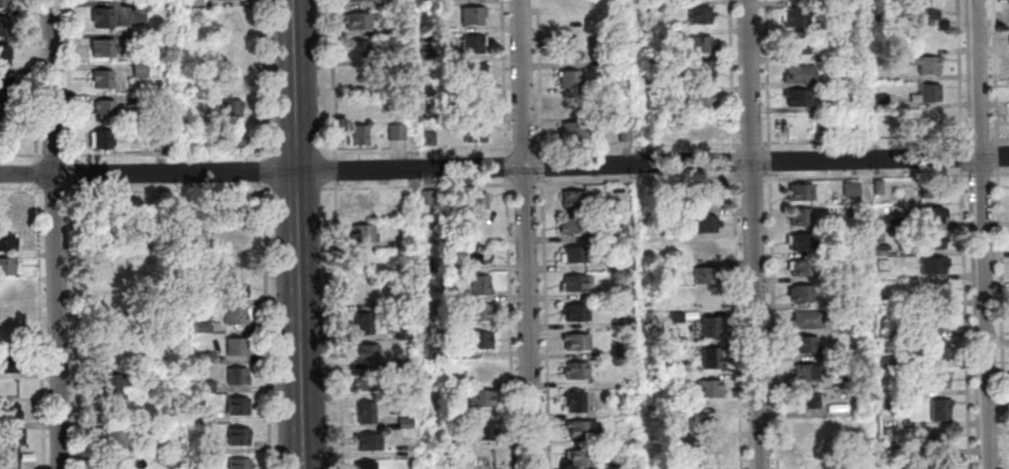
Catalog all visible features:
building: (355, 1)
building: (565, 2)
building: (795, 2)
building: (4, 3)
building: (394, 4)
building: (139, 6)
building: (473, 14)
building: (929, 14)
building: (698, 15)
building: (102, 17)
building: (226, 21)
building: (357, 21)
building: (798, 21)
building: (5, 24)
building: (566, 24)
building: (848, 29)
building: (649, 35)
building: (472, 44)
building: (700, 44)
building: (103, 48)
building: (798, 48)
building: (359, 50)
building: (229, 51)
building: (568, 51)
building: (5, 55)
building: (650, 64)
building: (925, 67)
building: (140, 70)
building: (702, 71)
building: (473, 72)
building: (102, 77)
building: (800, 78)
building: (228, 79)
building: (567, 79)
building: (6, 82)
building: (651, 92)
building: (930, 96)
building: (139, 100)
building: (474, 101)
building: (798, 101)
building: (701, 102)
building: (570, 103)
building: (847, 104)
building: (230, 107)
building: (104, 109)
building: (5, 111)
building: (932, 121)
building: (701, 126)
building: (471, 131)
building: (570, 131)
building: (396, 133)
building: (623, 134)
building: (357, 135)
building: (102, 138)
building: (230, 138)
building: (430, 139)
building: (160, 144)
road: (504, 167)
building: (877, 187)
building: (850, 190)
building: (799, 191)
building: (930, 191)
building: (428, 197)
building: (572, 198)
building: (474, 201)
road: (294, 203)
building: (233, 205)
building: (359, 205)
building: (9, 214)
building: (931, 215)
building: (800, 216)
building: (706, 223)
building: (879, 223)
building: (571, 225)
building: (103, 227)
building: (477, 227)
building: (233, 233)
building: (362, 233)
road: (53, 234)
road: (523, 234)
road: (639, 234)
road: (751, 234)
road: (868, 234)
road: (978, 234)
building: (621, 235)
building: (933, 240)
building: (801, 241)
building: (7, 242)
building: (850, 248)
building: (705, 249)
building: (881, 250)
building: (573, 254)
building: (477, 255)
building: (234, 261)
building: (625, 263)
building: (931, 265)
building: (8, 266)
building: (674, 267)
building: (802, 267)
building: (705, 276)
building: (577, 282)
building: (480, 285)
building: (235, 289)
building: (9, 290)
building: (932, 290)
building: (361, 292)
building: (800, 293)
building: (110, 294)
building: (625, 296)
building: (200, 300)
building: (706, 300)
building: (853, 302)
building: (883, 302)
building: (478, 311)
building: (575, 312)
building: (8, 314)
building: (235, 316)
building: (675, 317)
building: (806, 320)
building: (936, 320)
building: (363, 323)
building: (432, 324)
building: (626, 324)
building: (845, 326)
building: (709, 327)
building: (202, 328)
building: (403, 334)
building: (8, 338)
building: (479, 340)
building: (576, 341)
building: (804, 344)
building: (237, 347)
building: (624, 350)
building: (937, 350)
building: (432, 351)
building: (366, 352)
building: (115, 354)
building: (710, 357)
building: (204, 358)
building: (9, 362)
building: (404, 364)
building: (576, 370)
building: (804, 372)
building: (236, 376)
building: (934, 380)
building: (366, 382)
building: (628, 382)
building: (841, 382)
building: (205, 387)
building: (114, 388)
building: (707, 388)
building: (898, 392)
building: (403, 393)
building: (480, 397)
building: (805, 399)
building: (575, 401)
building: (237, 406)
building: (939, 409)
building: (10, 412)
building: (365, 412)
building: (712, 417)
building: (205, 418)
building: (405, 422)
building: (150, 427)
building: (481, 428)
building: (578, 428)
building: (807, 429)
building: (9, 435)
building: (238, 436)
building: (114, 438)
road: (300, 438)
building: (452, 440)
building: (936, 440)
building: (368, 441)
building: (712, 446)
building: (206, 448)
building: (477, 457)
building: (807, 457)
building: (580, 458)
building: (110, 463)
building: (239, 463)
building: (938, 463)
building: (365, 464)
building: (712, 468)

